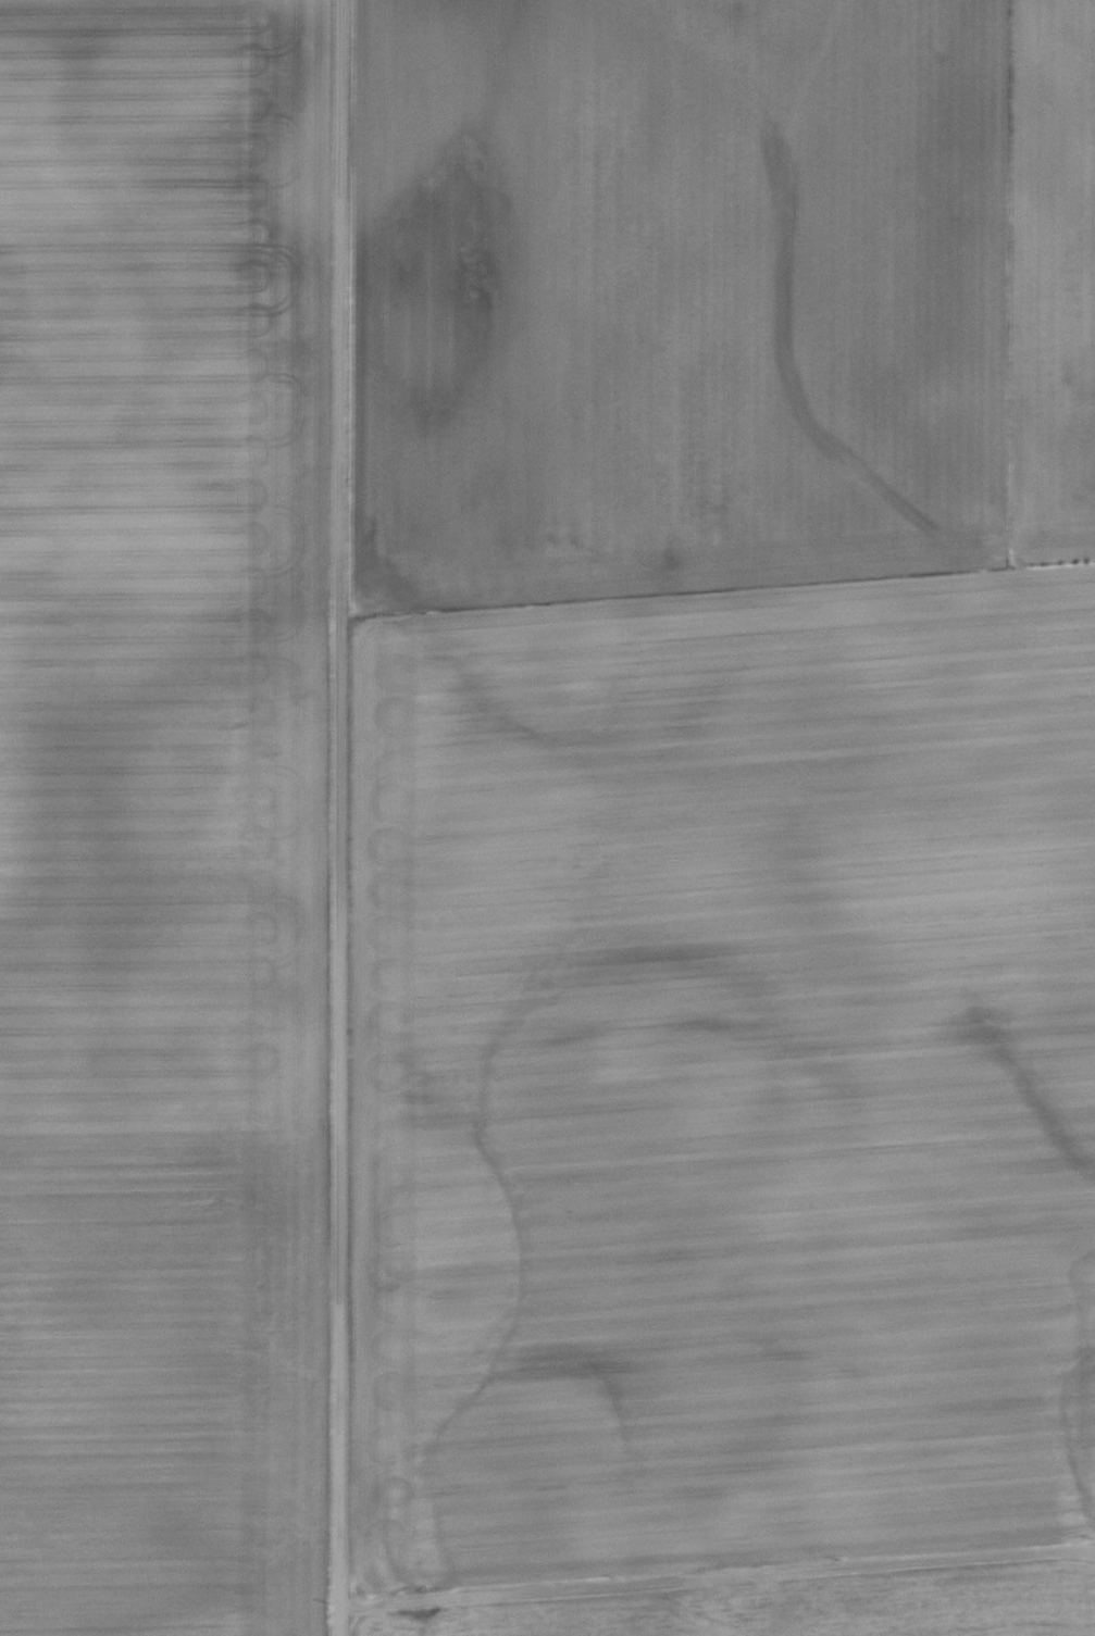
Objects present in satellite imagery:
road: (331, 817)
road: (709, 1578)

